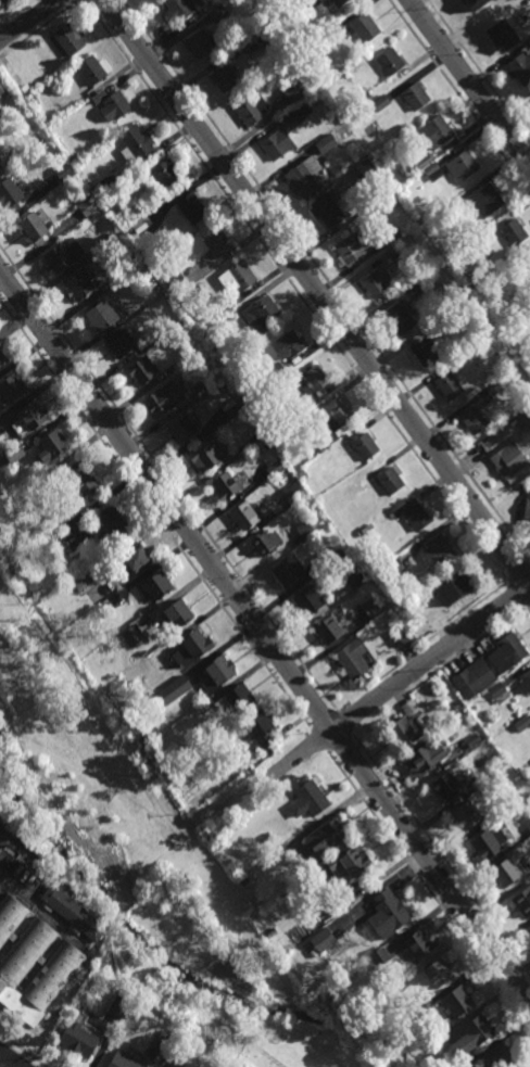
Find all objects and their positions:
parking lot: (4, 2)
building: (310, 2)
building: (337, 2)
building: (474, 5)
building: (184, 9)
building: (270, 10)
building: (218, 13)
road: (26, 20)
building: (336, 27)
building: (364, 27)
road: (38, 28)
building: (328, 33)
building: (495, 34)
road: (1, 36)
building: (68, 39)
building: (200, 43)
building: (389, 62)
building: (518, 68)
building: (92, 69)
road: (478, 69)
building: (225, 78)
building: (248, 81)
road: (469, 81)
building: (2, 86)
building: (25, 89)
building: (296, 92)
building: (29, 97)
building: (99, 97)
building: (413, 97)
road: (458, 97)
building: (365, 98)
building: (378, 103)
building: (114, 105)
building: (253, 110)
building: (302, 111)
building: (0, 118)
building: (434, 131)
building: (37, 138)
building: (135, 143)
building: (325, 143)
building: (278, 144)
building: (73, 158)
building: (87, 160)
building: (422, 161)
building: (462, 164)
building: (0, 166)
building: (408, 167)
building: (146, 168)
building: (63, 172)
building: (362, 172)
building: (336, 173)
building: (164, 176)
building: (307, 177)
building: (9, 195)
building: (81, 196)
building: (485, 202)
building: (331, 205)
building: (451, 207)
building: (88, 208)
building: (191, 209)
building: (127, 223)
building: (143, 225)
building: (33, 229)
building: (514, 233)
building: (386, 238)
building: (108, 240)
building: (218, 244)
building: (352, 249)
building: (393, 252)
building: (63, 256)
building: (528, 265)
building: (129, 268)
building: (239, 277)
road: (328, 279)
building: (469, 281)
building: (376, 283)
building: (177, 284)
building: (80, 287)
building: (414, 289)
road: (295, 290)
road: (315, 291)
building: (229, 304)
building: (232, 316)
building: (262, 316)
building: (101, 318)
building: (397, 319)
building: (123, 344)
building: (290, 346)
building: (424, 353)
building: (191, 355)
building: (2, 361)
building: (223, 365)
building: (141, 372)
building: (275, 373)
building: (313, 381)
building: (447, 386)
building: (493, 389)
building: (12, 390)
building: (255, 393)
building: (165, 401)
building: (256, 406)
building: (230, 410)
building: (338, 417)
building: (525, 417)
building: (474, 420)
building: (27, 422)
building: (184, 432)
building: (253, 442)
building: (365, 445)
building: (52, 448)
building: (319, 452)
building: (14, 456)
building: (508, 458)
building: (205, 460)
building: (275, 470)
building: (301, 473)
building: (83, 477)
building: (389, 478)
road: (167, 480)
building: (359, 483)
building: (225, 485)
building: (292, 491)
building: (527, 506)
building: (414, 512)
building: (244, 513)
road: (155, 517)
building: (114, 519)
building: (304, 529)
building: (364, 530)
building: (265, 539)
building: (437, 548)
building: (138, 556)
building: (326, 556)
building: (392, 566)
building: (288, 570)
road: (519, 571)
building: (354, 577)
building: (83, 579)
building: (459, 581)
building: (157, 583)
building: (112, 587)
road: (517, 594)
building: (306, 599)
building: (109, 605)
building: (371, 606)
road: (528, 606)
road: (528, 610)
building: (179, 611)
road: (466, 611)
building: (326, 628)
building: (132, 634)
building: (397, 636)
road: (265, 637)
road: (484, 637)
building: (491, 637)
building: (192, 645)
building: (143, 651)
road: (432, 655)
building: (351, 657)
building: (489, 665)
building: (218, 671)
road: (400, 682)
building: (525, 682)
building: (175, 687)
building: (499, 691)
building: (240, 697)
building: (456, 703)
building: (408, 707)
road: (324, 721)
road: (343, 722)
building: (521, 723)
building: (261, 728)
building: (403, 729)
building: (472, 739)
road: (0, 740)
road: (318, 740)
road: (338, 740)
building: (178, 750)
building: (421, 758)
road: (97, 778)
building: (447, 784)
building: (311, 796)
road: (230, 798)
building: (464, 815)
road: (193, 820)
building: (528, 826)
building: (267, 837)
building: (320, 840)
building: (488, 842)
road: (441, 855)
building: (346, 863)
building: (505, 872)
road: (428, 889)
building: (522, 901)
building: (336, 903)
building: (73, 912)
building: (386, 914)
building: (272, 932)
building: (320, 940)
building: (416, 944)
building: (93, 953)
building: (312, 953)
building: (375, 960)
building: (31, 963)
building: (437, 974)
building: (400, 985)
building: (456, 1001)
building: (119, 1007)
building: (419, 1012)
building: (47, 1015)
building: (470, 1038)
building: (77, 1040)
building: (167, 1041)
road: (23, 1050)
building: (499, 1057)
road: (10, 1058)
building: (126, 1058)

